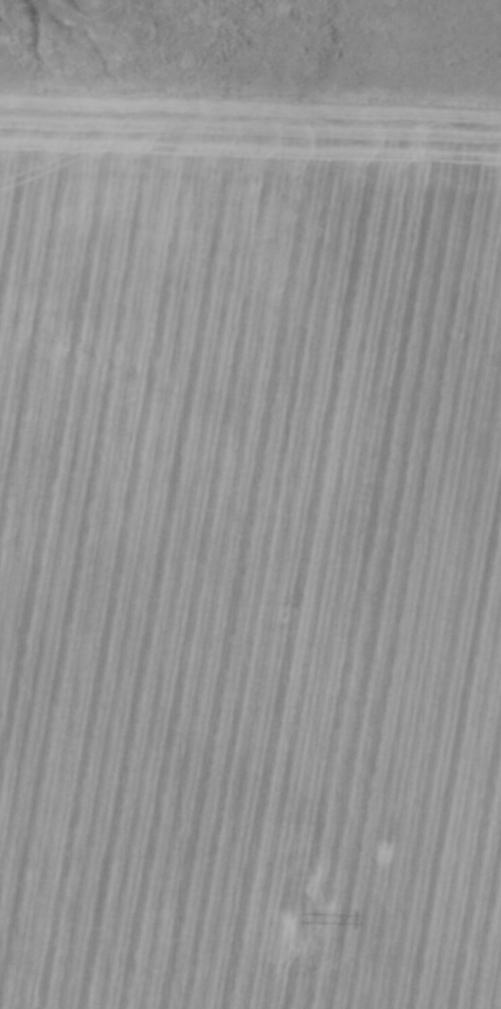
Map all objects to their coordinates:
power tower: (303, 916)

